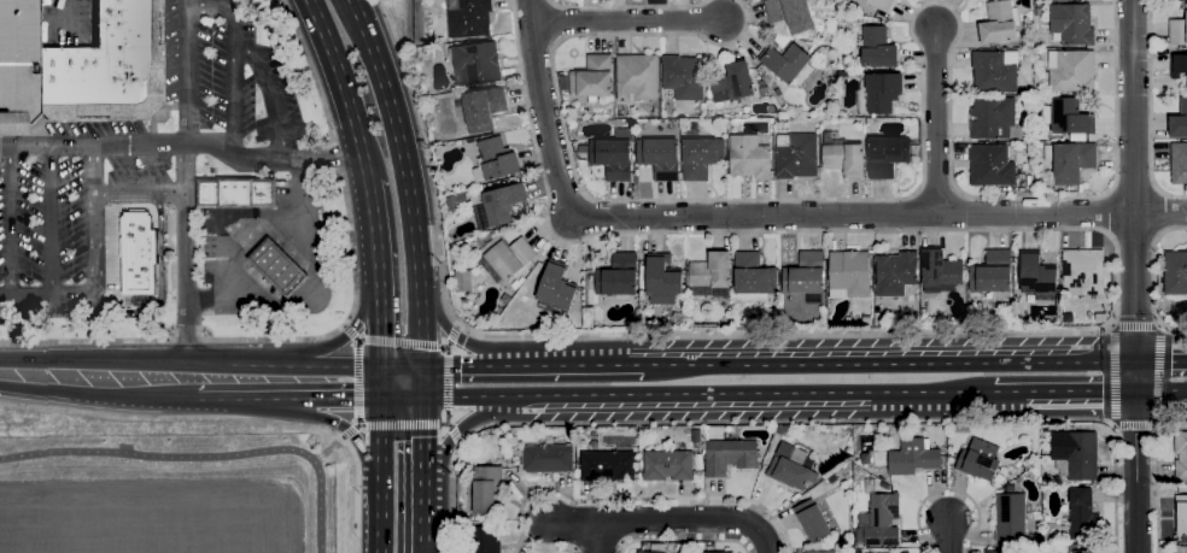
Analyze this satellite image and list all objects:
building: (882, 5)
road: (226, 6)
road: (628, 7)
road: (69, 10)
building: (790, 14)
building: (469, 19)
road: (626, 22)
building: (998, 24)
building: (1071, 24)
building: (1177, 30)
building: (877, 48)
building: (785, 61)
building: (476, 63)
building: (17, 64)
building: (106, 66)
building: (1177, 66)
building: (994, 71)
building: (1071, 71)
building: (842, 75)
building: (592, 77)
building: (636, 77)
building: (683, 77)
building: (732, 83)
road: (343, 89)
building: (764, 92)
building: (882, 93)
road: (270, 96)
road: (232, 100)
building: (703, 107)
building: (483, 108)
road: (1150, 111)
building: (994, 119)
building: (1070, 120)
road: (935, 122)
building: (1179, 122)
road: (181, 143)
building: (612, 155)
building: (885, 155)
building: (795, 157)
building: (659, 158)
building: (700, 158)
building: (749, 158)
building: (497, 159)
building: (844, 160)
building: (1070, 160)
parking lot: (133, 161)
building: (1179, 164)
building: (990, 166)
road: (922, 173)
road: (407, 178)
road: (1133, 180)
road: (182, 181)
building: (235, 194)
road: (138, 195)
road: (370, 202)
building: (456, 202)
building: (499, 206)
road: (767, 216)
road: (11, 223)
road: (51, 223)
road: (247, 241)
building: (140, 255)
building: (507, 257)
road: (94, 266)
building: (277, 267)
gas station: (277, 267)
building: (940, 270)
building: (1082, 272)
building: (895, 273)
building: (992, 273)
building: (1175, 273)
building: (805, 275)
building: (848, 275)
building: (618, 276)
building: (711, 276)
building: (1036, 276)
building: (753, 278)
building: (662, 280)
road: (1152, 281)
building: (462, 282)
building: (515, 286)
building: (556, 287)
road: (378, 294)
building: (504, 299)
road: (310, 304)
road: (358, 317)
building: (771, 317)
building: (738, 324)
road: (339, 326)
road: (343, 326)
road: (457, 326)
building: (643, 326)
road: (1134, 326)
road: (1060, 334)
road: (456, 336)
road: (392, 342)
road: (93, 359)
traffic signals: (1138, 360)
road: (1162, 360)
road: (875, 361)
road: (516, 365)
road: (282, 366)
traffic signals: (381, 366)
road: (402, 366)
traffic signals: (422, 366)
road: (448, 375)
road: (1105, 375)
road: (1163, 375)
road: (381, 382)
road: (422, 382)
road: (357, 392)
road: (1162, 392)
road: (1001, 393)
road: (1080, 393)
traffic signals: (1139, 393)
road: (702, 395)
road: (98, 396)
road: (402, 398)
traffic signals: (423, 398)
road: (290, 399)
traffic signals: (381, 399)
road: (1135, 424)
road: (414, 425)
road: (344, 428)
building: (1043, 429)
building: (780, 430)
road: (460, 431)
building: (695, 436)
road: (423, 439)
road: (381, 442)
road: (460, 445)
road: (328, 449)
building: (1075, 455)
road: (1139, 455)
road: (158, 457)
building: (729, 457)
building: (1180, 457)
building: (912, 458)
building: (545, 459)
building: (978, 460)
building: (606, 466)
building: (667, 466)
building: (791, 471)
road: (1154, 475)
building: (1017, 480)
road: (1113, 483)
road: (357, 484)
park: (171, 486)
building: (486, 489)
road: (946, 489)
road: (451, 498)
road: (622, 499)
road: (423, 500)
road: (320, 506)
building: (1181, 514)
building: (1082, 516)
building: (1010, 517)
road: (380, 518)
building: (480, 518)
road: (666, 520)
building: (811, 520)
building: (882, 520)
road: (423, 536)
road: (598, 536)
road: (948, 537)
building: (484, 540)
road: (684, 541)
building: (709, 547)
building: (679, 548)
building: (1078, 548)
building: (1180, 549)
building: (639, 552)
building: (819, 552)
building: (907, 552)
building: (996, 552)

